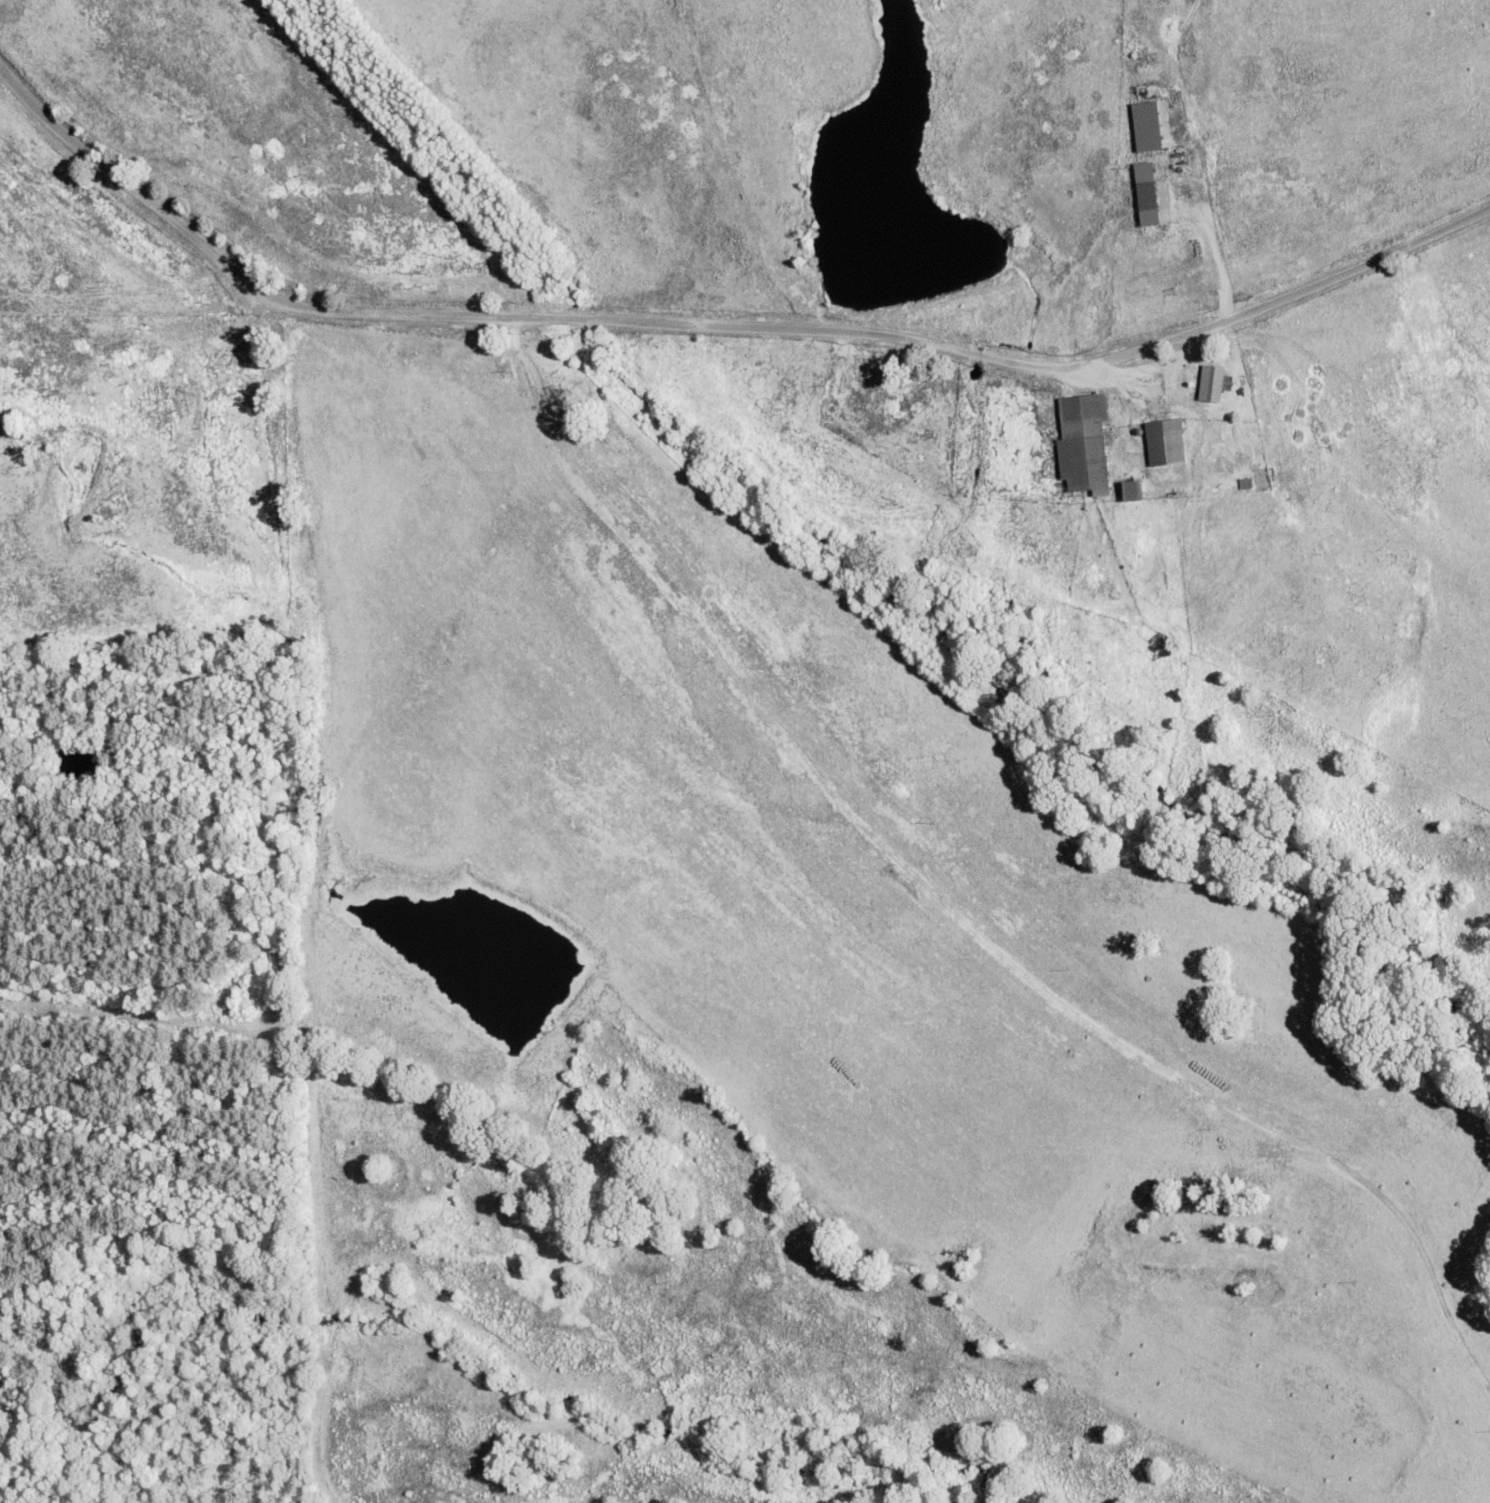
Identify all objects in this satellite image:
building: (1143, 195)
road: (719, 324)
building: (1209, 383)
building: (1163, 441)
building: (1081, 443)
building: (1128, 489)

